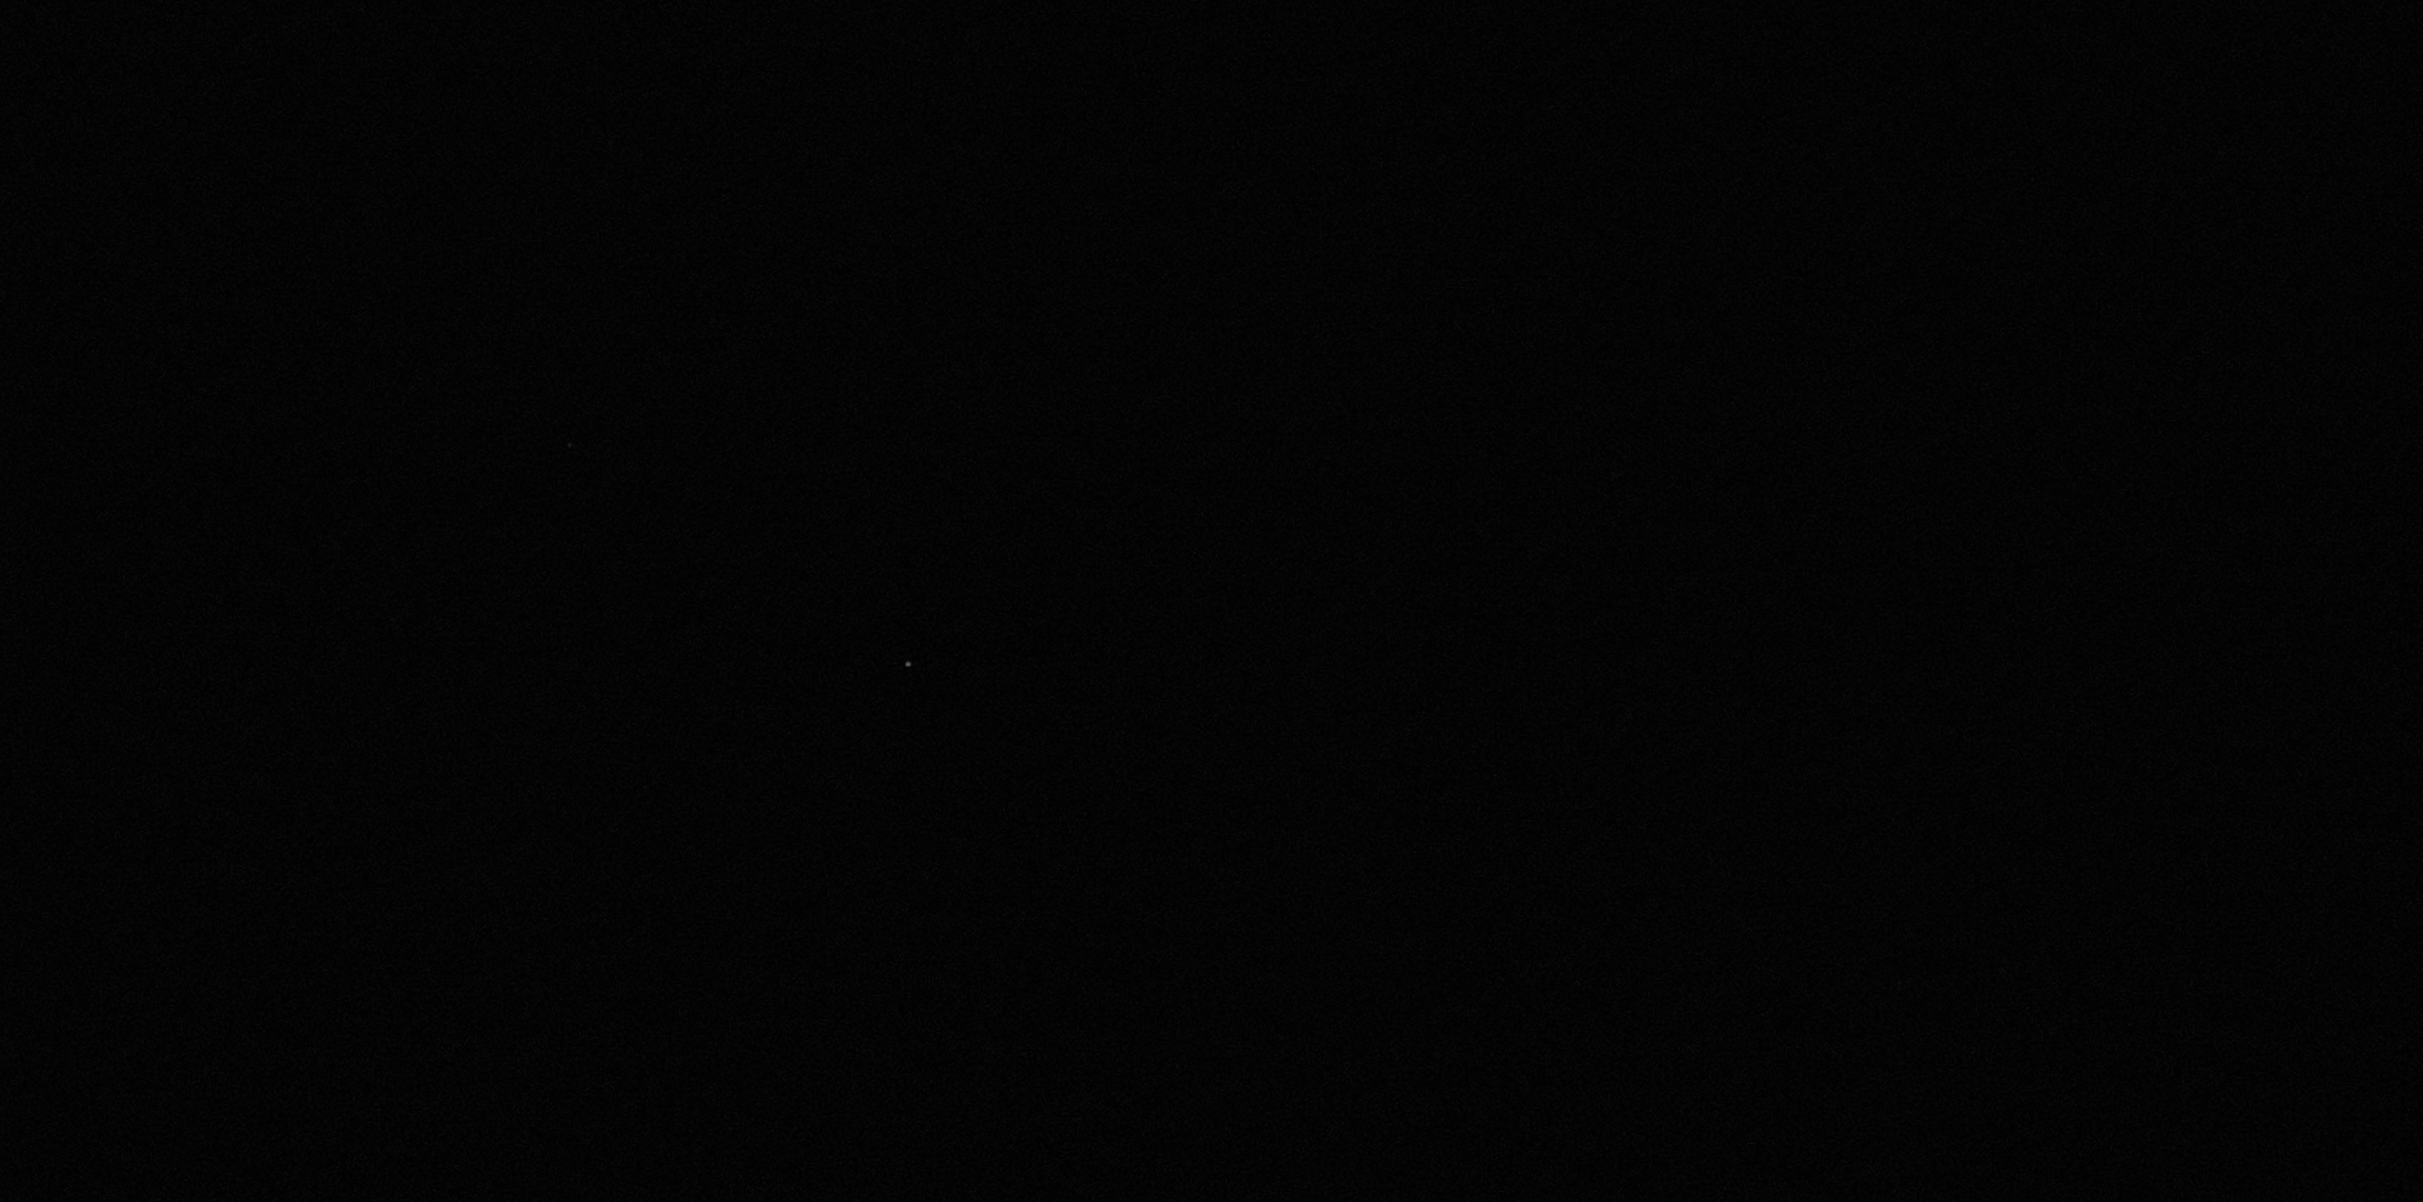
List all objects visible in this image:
river: (2279, 1164)

